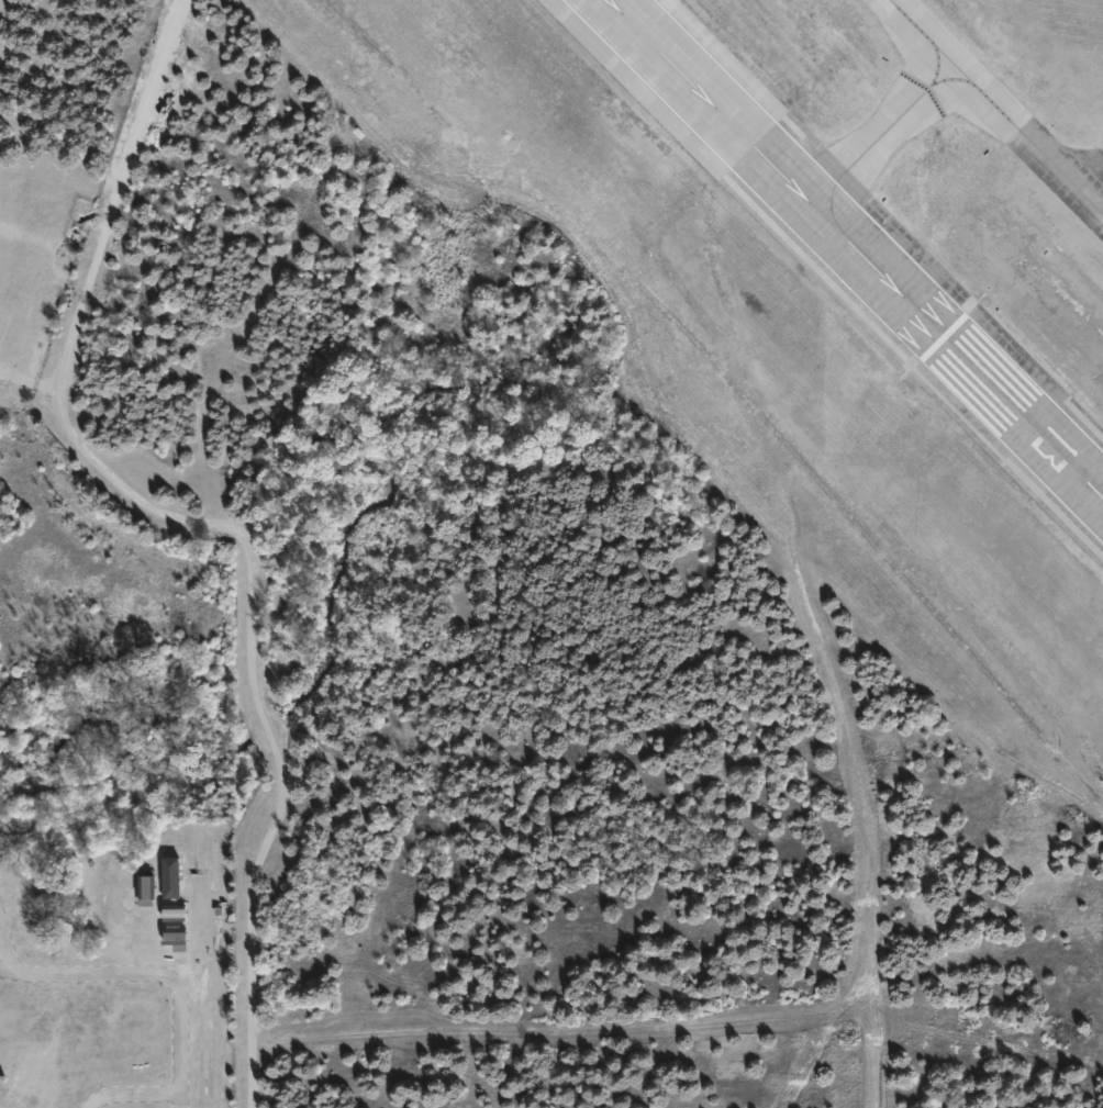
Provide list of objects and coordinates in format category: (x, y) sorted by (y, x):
airport taxiway: (960, 104)
airport runway: (935, 326)
airport: (636, 533)
building: (169, 878)
building: (146, 891)
building: (174, 913)
building: (174, 936)
road: (152, 974)

